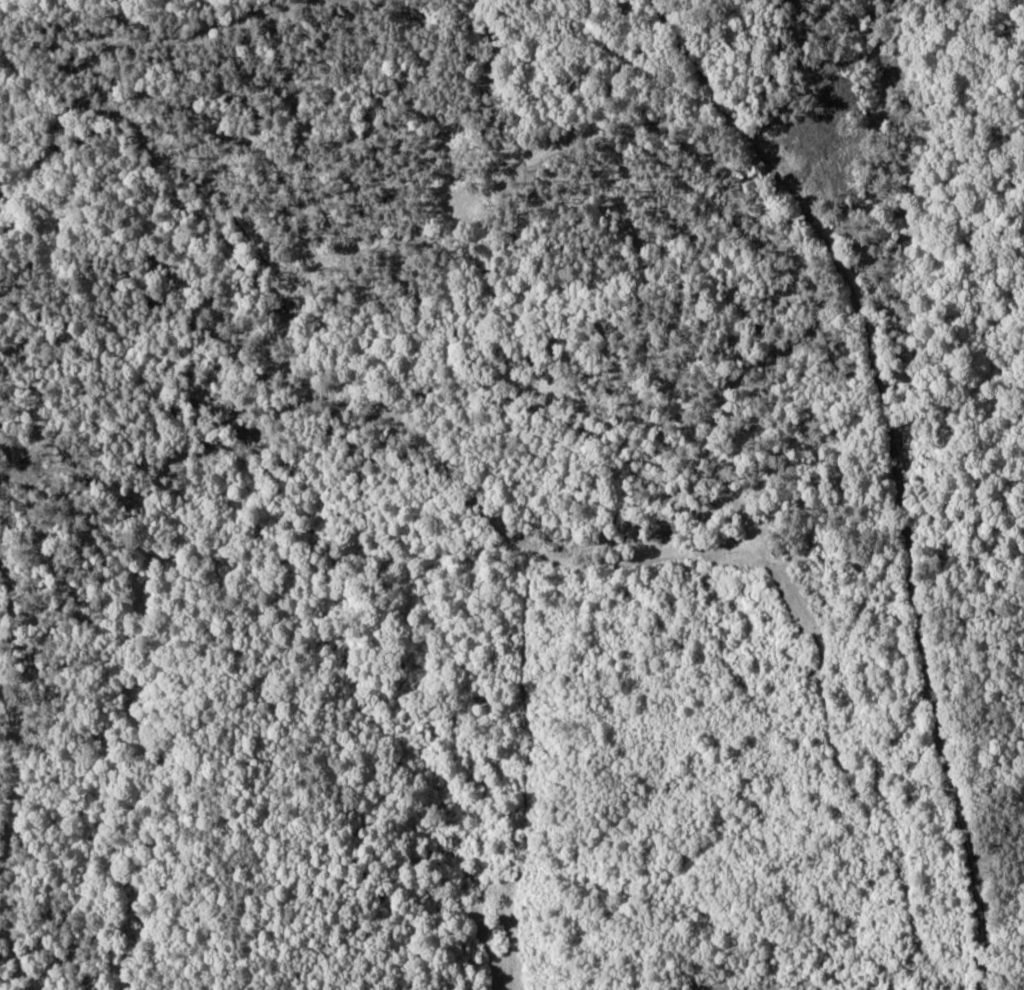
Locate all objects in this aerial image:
road: (899, 463)

